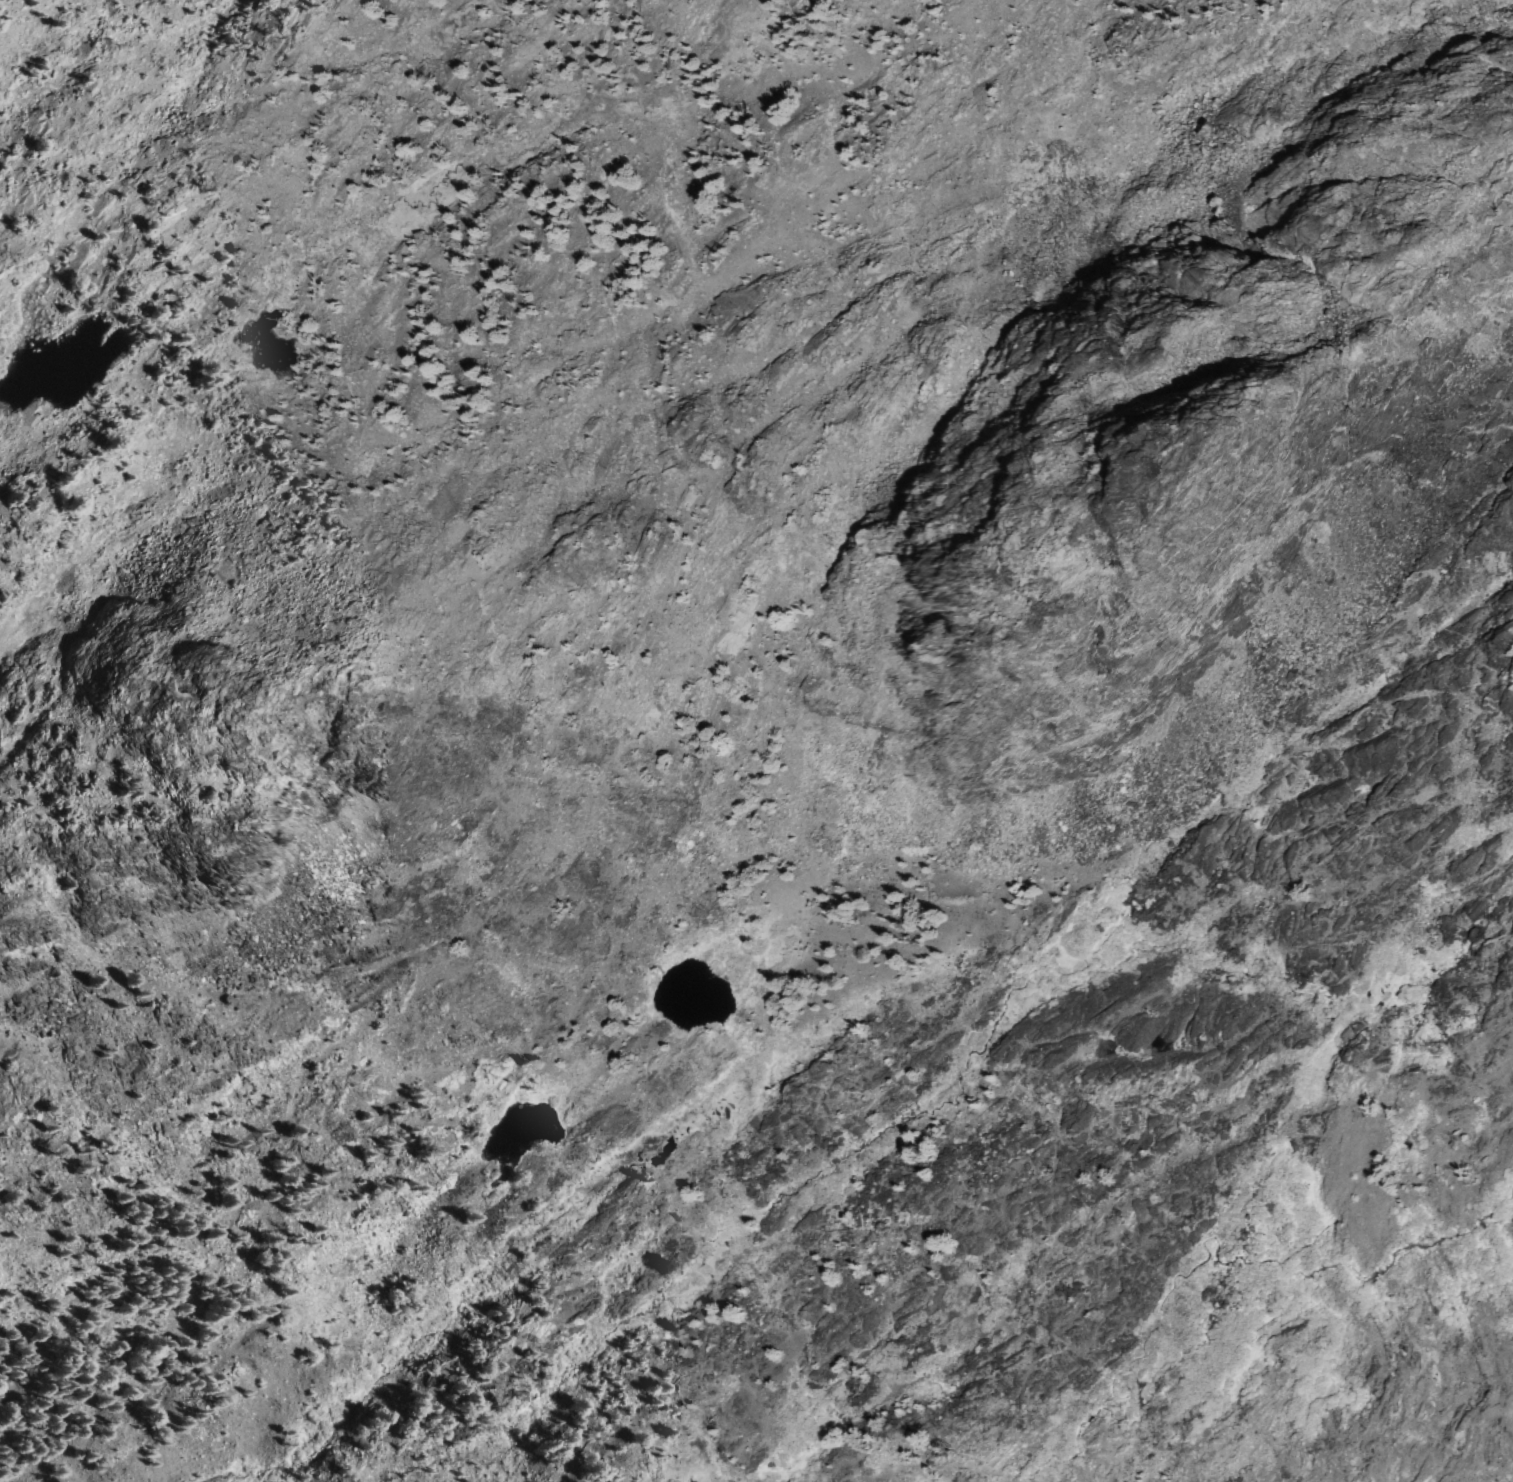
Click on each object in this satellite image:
road: (1388, 1227)

